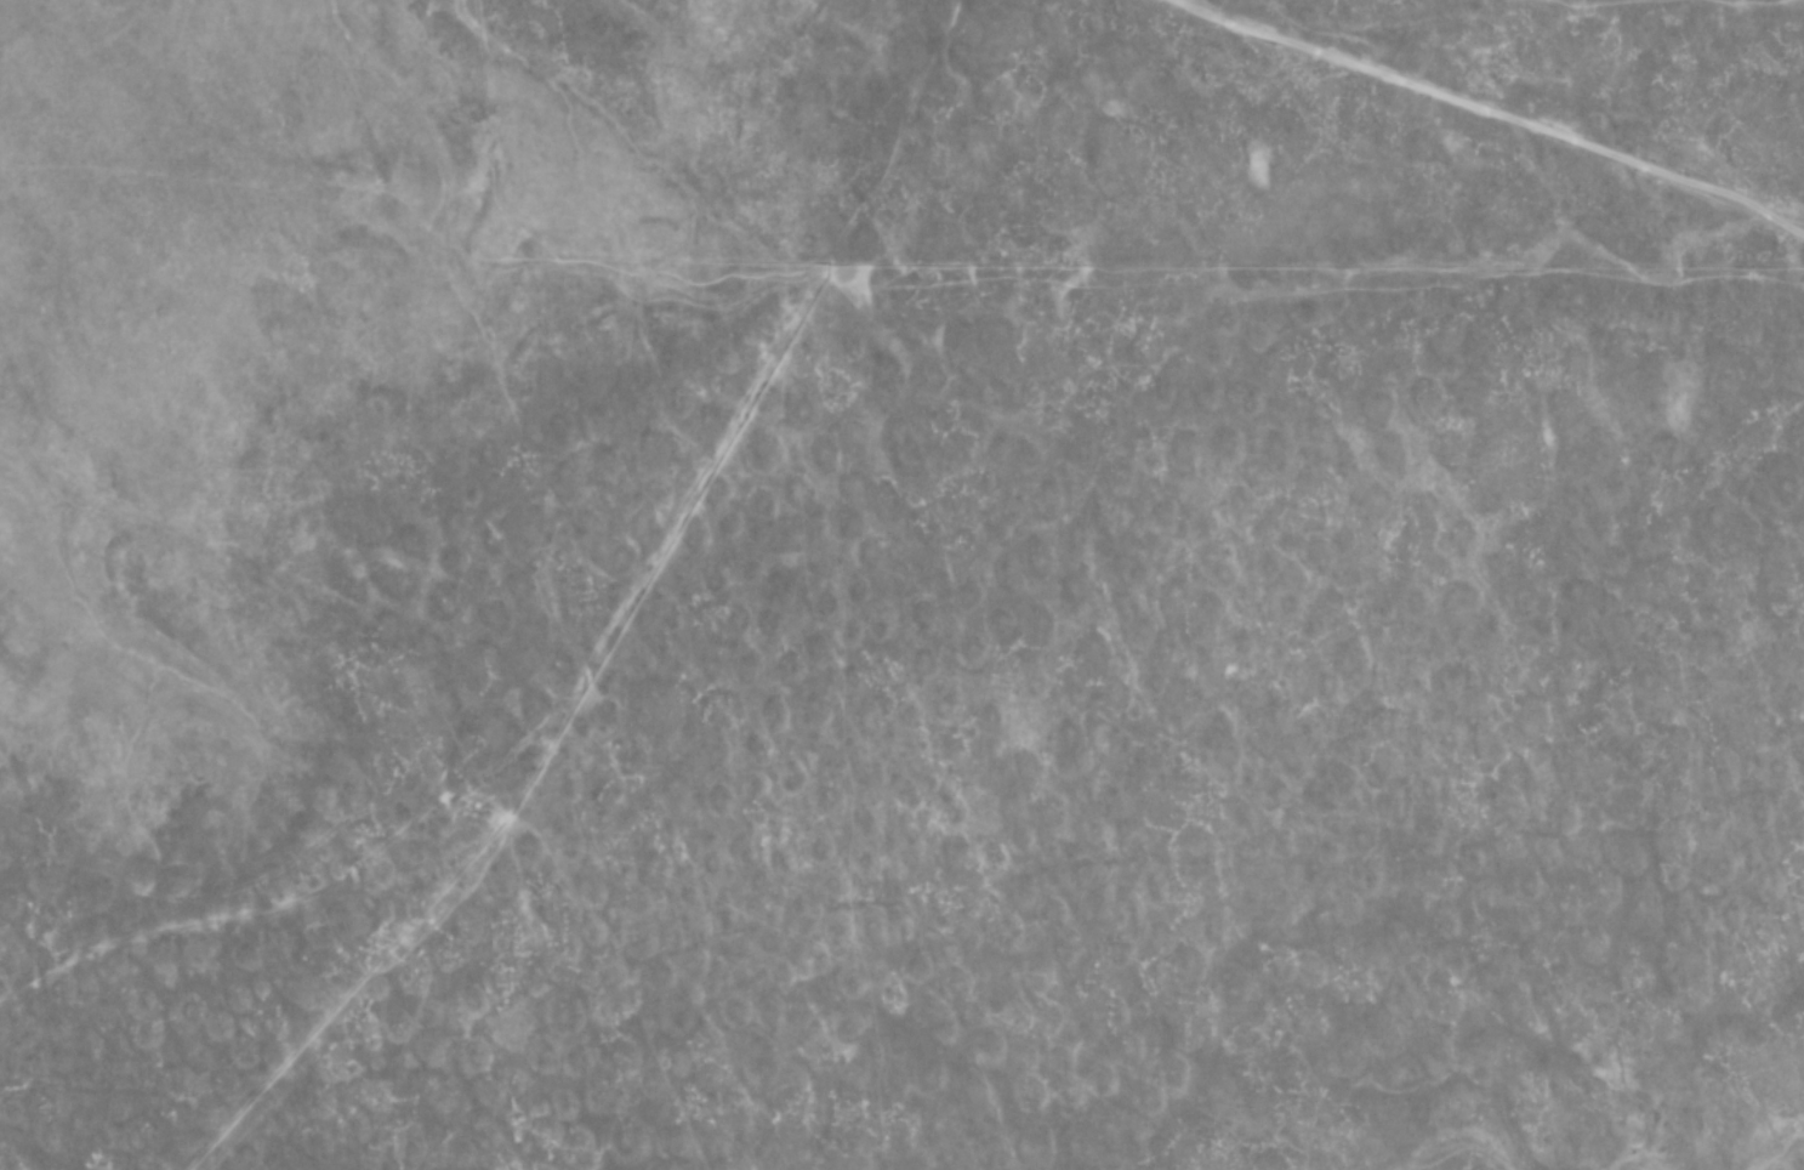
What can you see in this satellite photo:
road: (1499, 113)
road: (614, 638)

